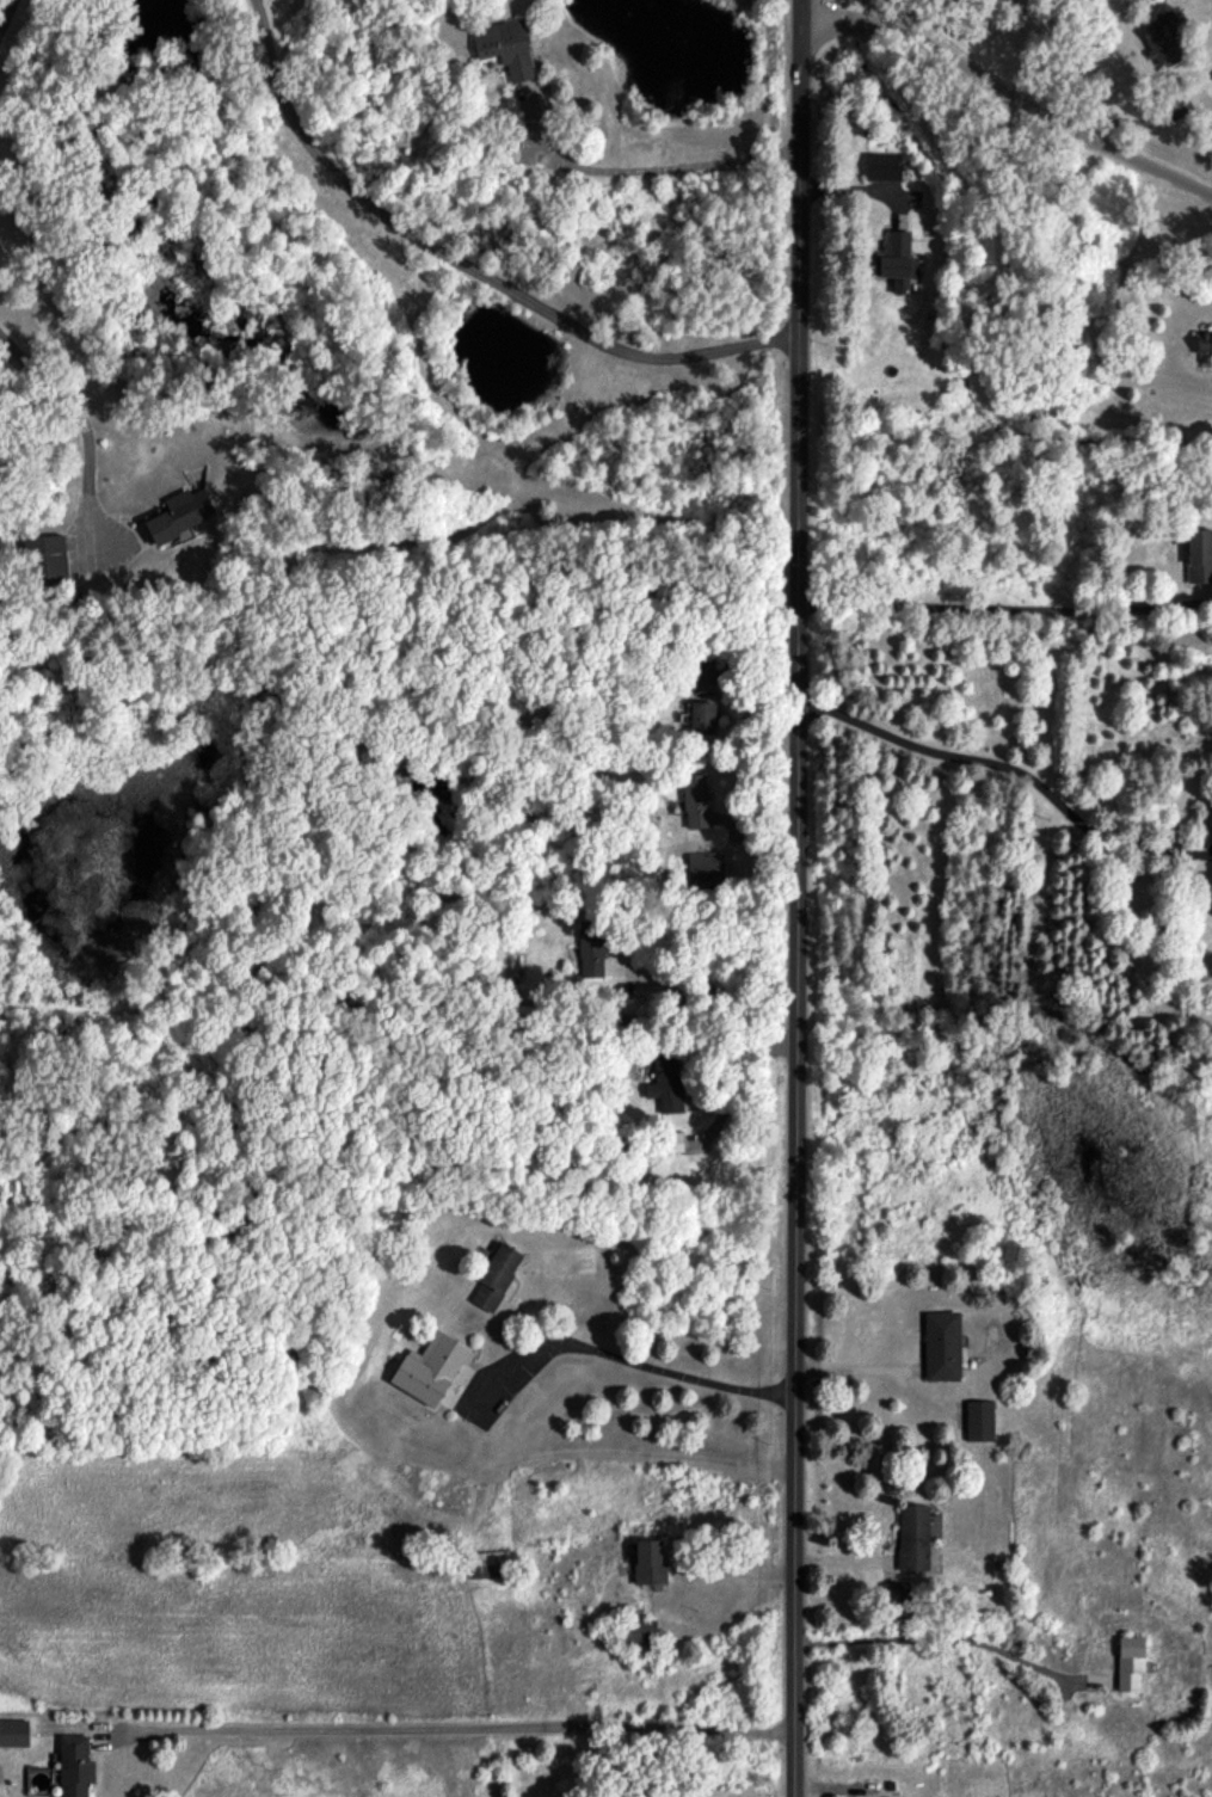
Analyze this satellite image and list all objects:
road: (4, 14)
building: (1163, 33)
building: (505, 47)
road: (1011, 92)
road: (671, 166)
building: (882, 166)
building: (897, 260)
road: (474, 265)
building: (1205, 346)
road: (79, 425)
building: (180, 513)
building: (1199, 554)
building: (44, 559)
road: (991, 605)
building: (703, 672)
building: (702, 715)
road: (1011, 768)
building: (695, 800)
road: (798, 898)
road: (703, 981)
road: (736, 1057)
building: (666, 1084)
building: (676, 1141)
building: (497, 1275)
building: (942, 1346)
road: (857, 1368)
building: (435, 1370)
road: (665, 1371)
building: (979, 1420)
building: (913, 1537)
crop: (441, 1546)
building: (648, 1562)
building: (487, 1564)
building: (897, 1600)
building: (639, 1632)
road: (928, 1637)
building: (1130, 1662)
road: (449, 1725)
building: (13, 1733)
building: (75, 1765)

